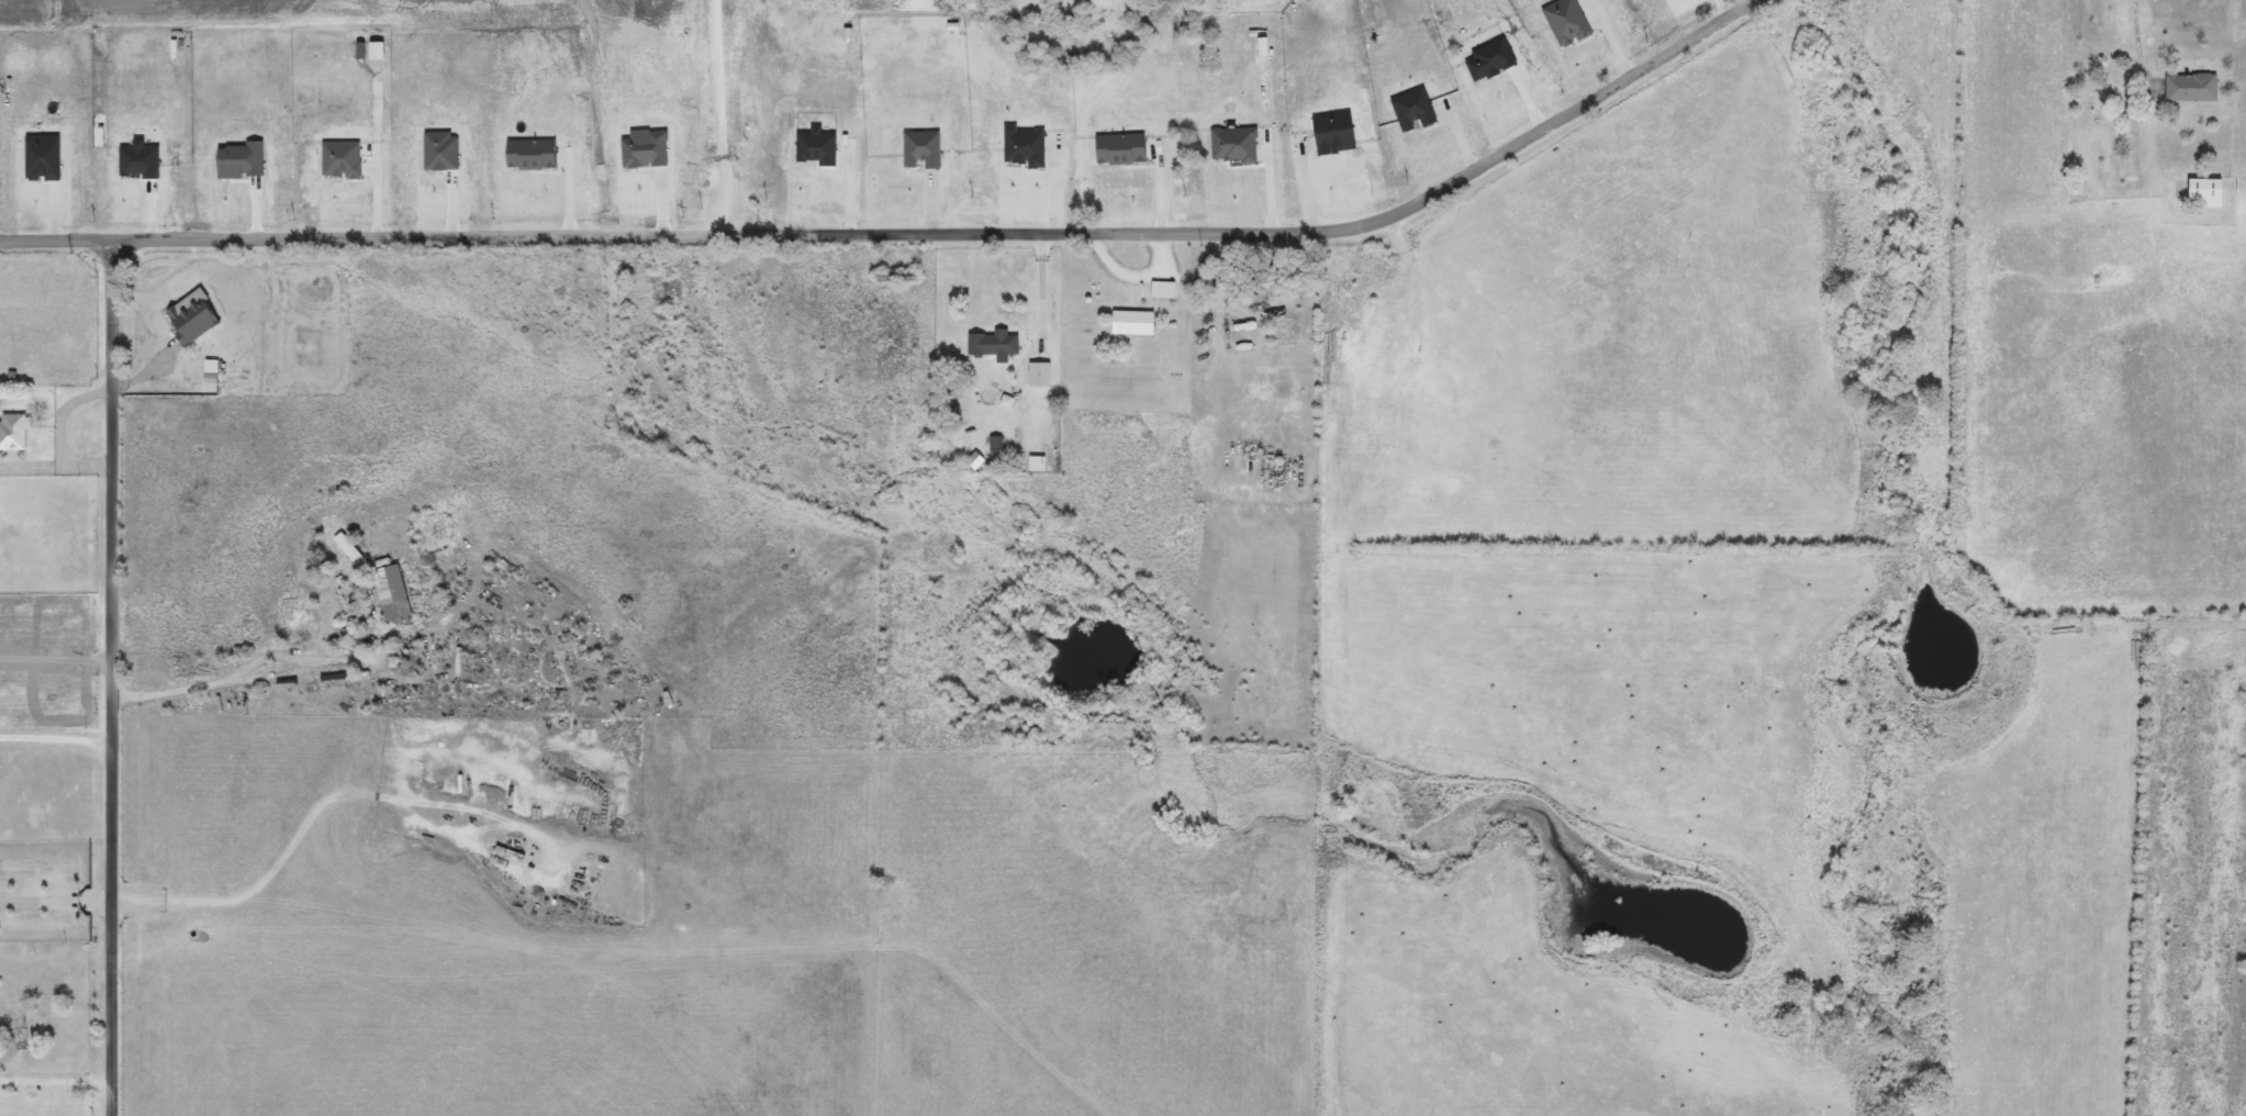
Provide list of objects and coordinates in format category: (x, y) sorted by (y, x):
road: (2143, 38)
building: (2192, 87)
building: (2098, 102)
building: (1338, 133)
building: (1240, 145)
building: (1028, 147)
building: (1126, 148)
building: (2204, 186)
road: (914, 237)
building: (897, 277)
building: (1393, 286)
building: (1135, 323)
building: (194, 326)
road: (973, 330)
road: (59, 336)
building: (211, 372)
building: (950, 390)
road: (67, 413)
road: (991, 421)
building: (14, 432)
building: (1004, 467)
road: (31, 469)
road: (90, 469)
building: (353, 551)
road: (254, 657)
road: (116, 678)
road: (58, 741)
road: (306, 824)
road: (451, 834)
road: (57, 904)
road: (58, 1079)

